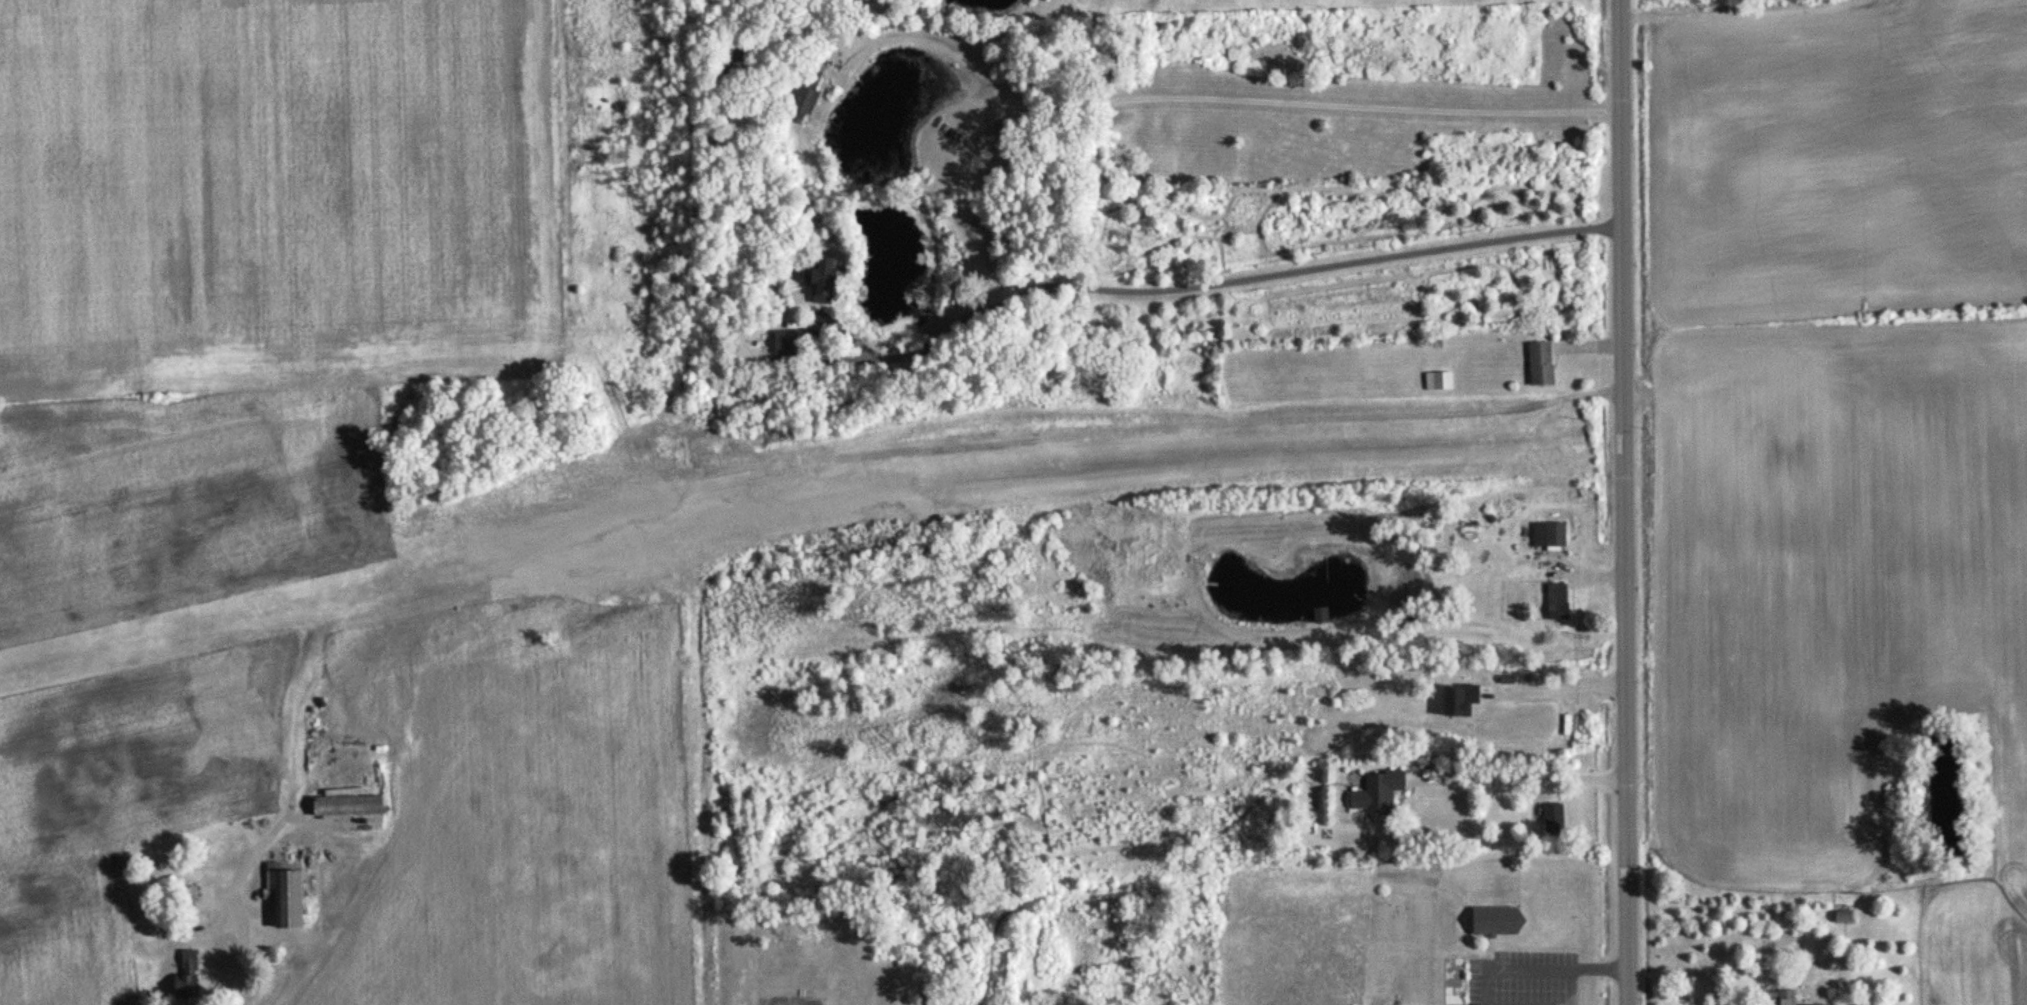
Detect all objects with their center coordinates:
building: (796, 98)
building: (818, 280)
building: (787, 342)
building: (1538, 365)
building: (1437, 382)
airport runway: (762, 481)
road: (1627, 502)
building: (1547, 535)
building: (1147, 584)
building: (1555, 602)
building: (1320, 616)
road: (1561, 685)
airport taxiway: (278, 698)
road: (1522, 773)
building: (1374, 791)
building: (343, 805)
building: (1552, 818)
building: (186, 896)
building: (282, 897)
building: (1841, 917)
building: (1492, 920)
road: (1557, 963)
building: (183, 975)
building: (1452, 981)
building: (1777, 998)

